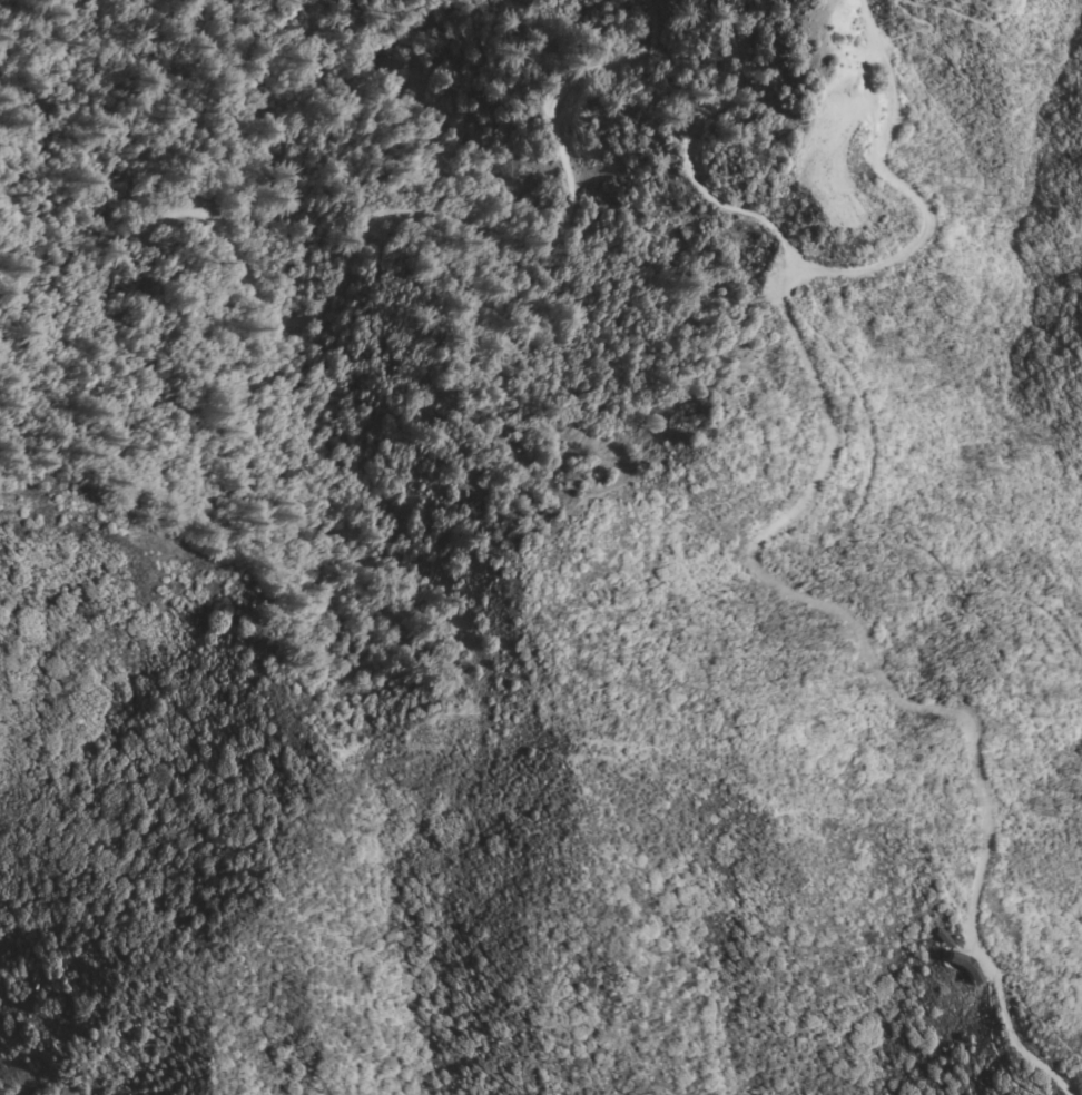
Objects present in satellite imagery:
road: (905, 0)
road: (997, 20)
road: (689, 156)
road: (914, 199)
road: (372, 243)
road: (358, 430)
road: (858, 533)
road: (844, 627)
building: (945, 936)
building: (966, 964)
road: (996, 1040)
road: (1021, 1042)

